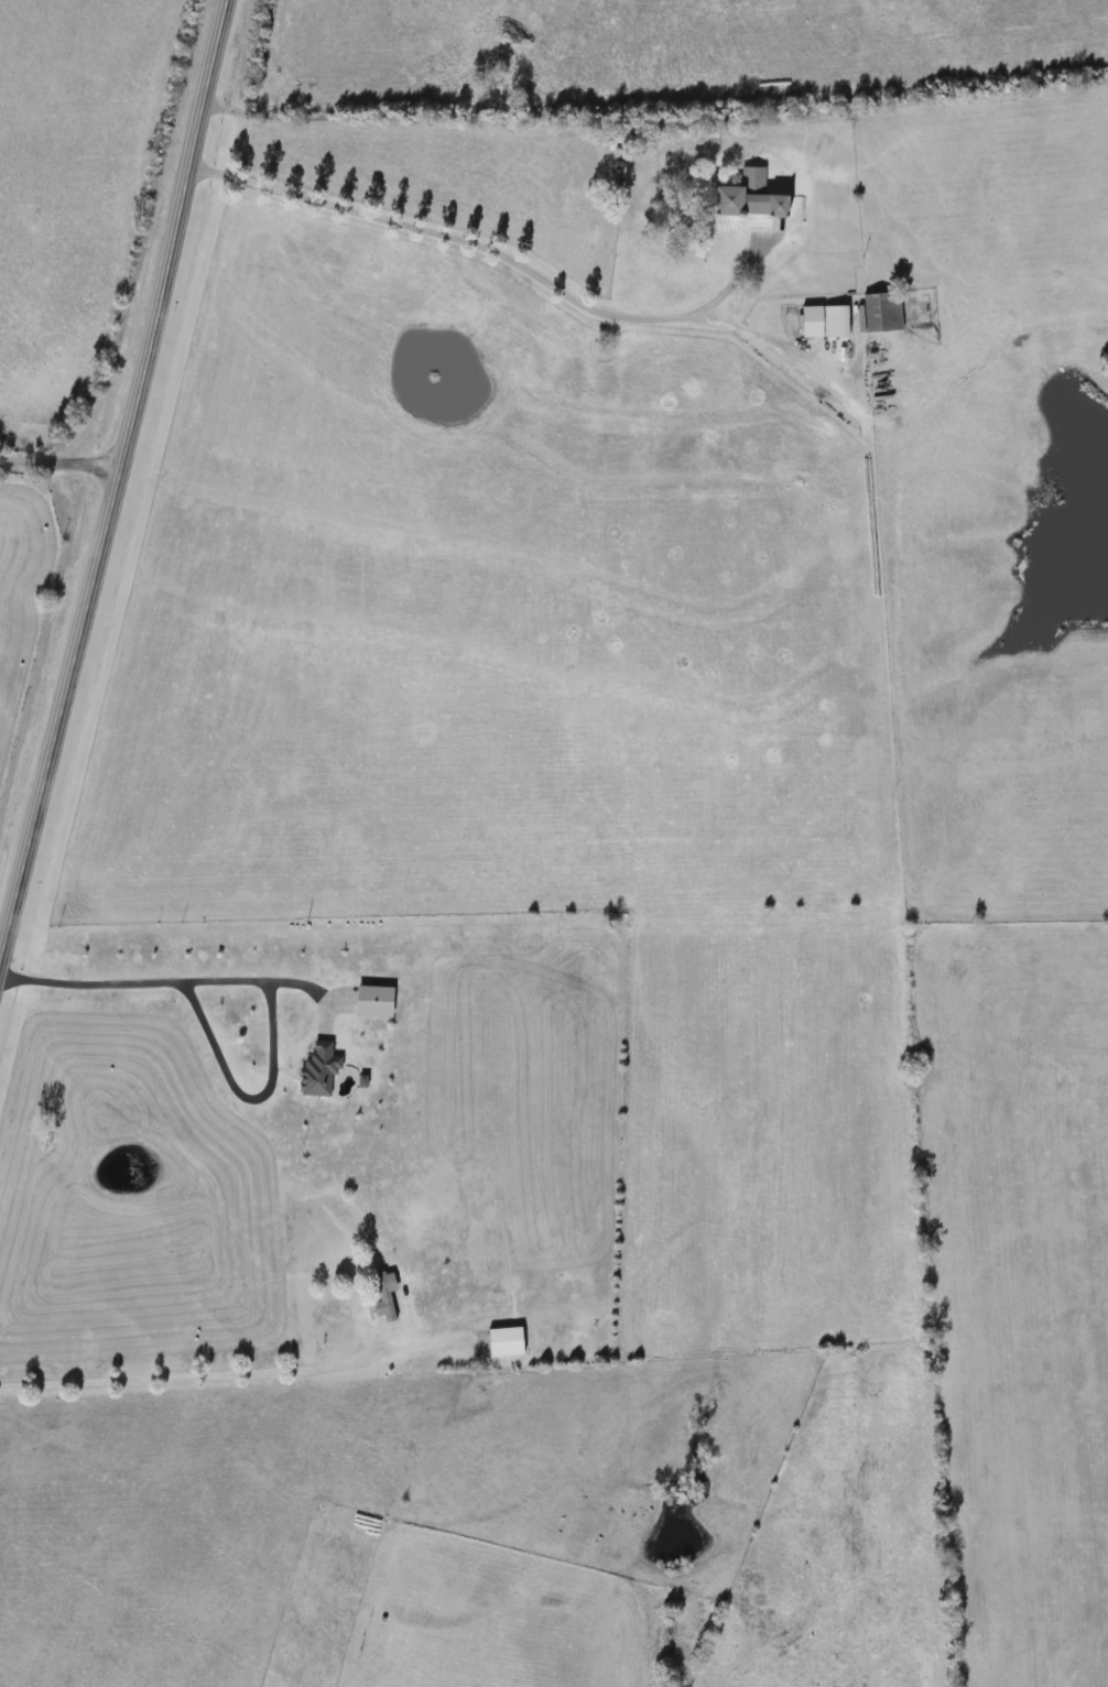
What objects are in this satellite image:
building: (758, 198)
road: (499, 252)
building: (886, 313)
building: (829, 322)
road: (776, 344)
road: (58, 464)
road: (115, 472)
road: (91, 981)
road: (274, 1071)
building: (388, 1296)
building: (510, 1341)
road: (191, 1376)

